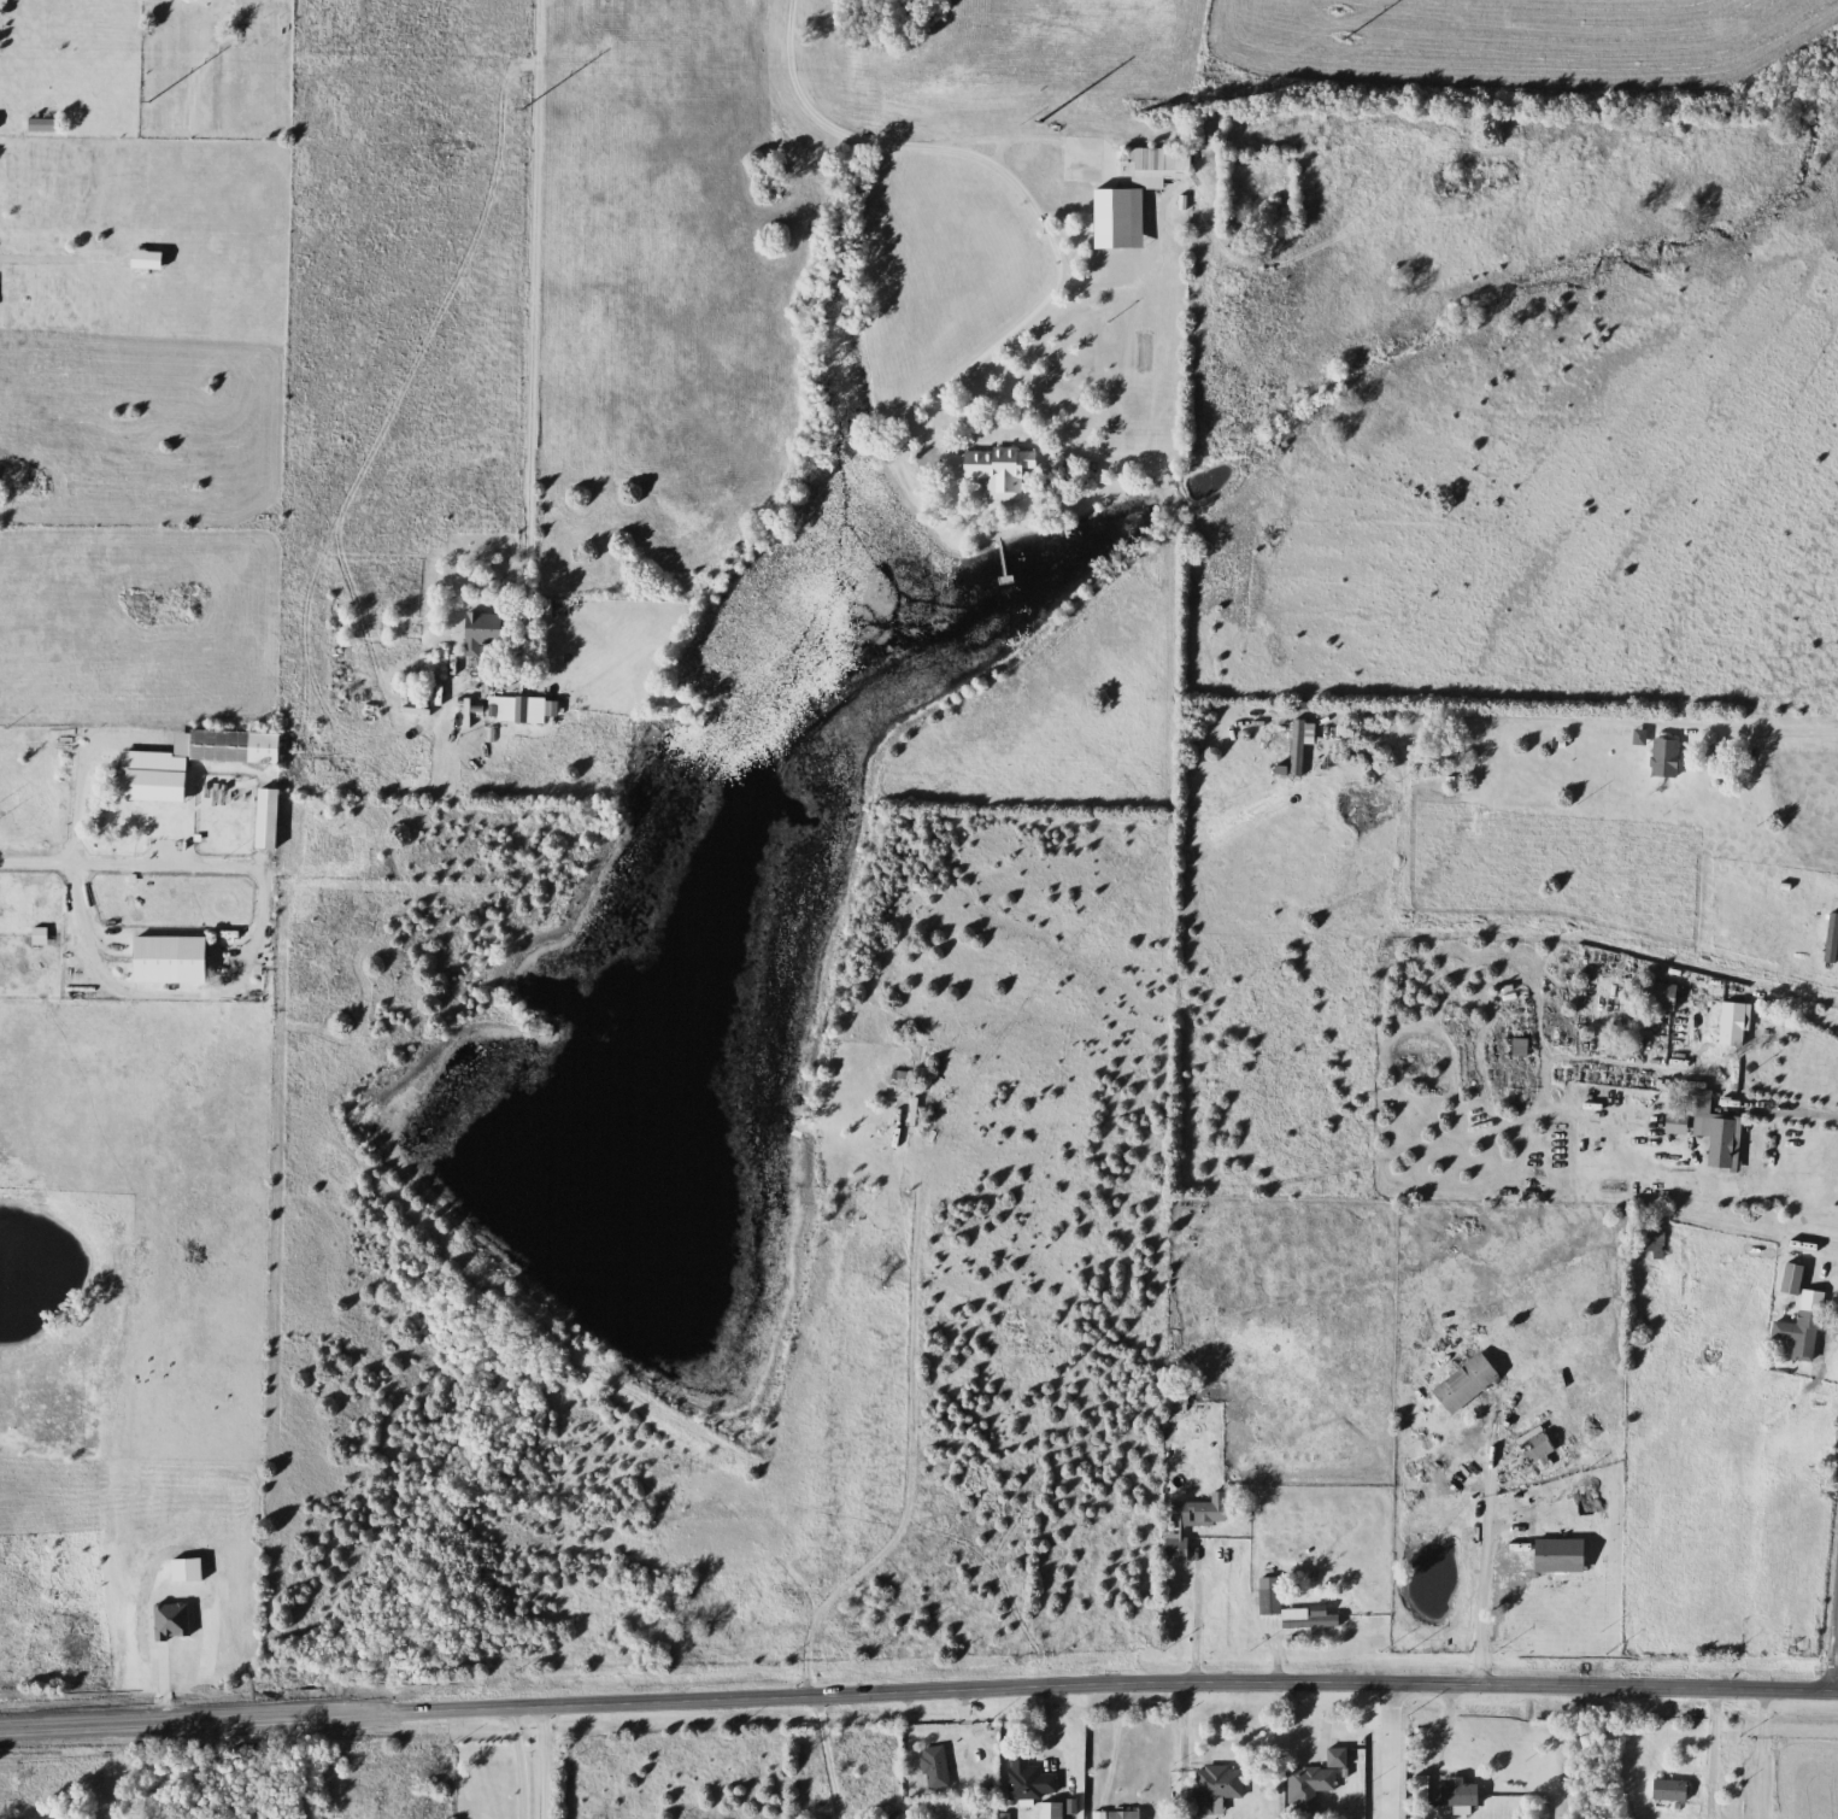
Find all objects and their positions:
power tower: (1337, 17)
power tower: (141, 78)
power tower: (517, 90)
power tower: (1040, 104)
building: (46, 125)
building: (1156, 166)
road: (1014, 181)
road: (51, 257)
road: (533, 292)
building: (1002, 465)
building: (485, 630)
building: (518, 709)
road: (1591, 720)
building: (229, 747)
building: (1299, 749)
building: (1668, 758)
building: (270, 818)
road: (128, 862)
road: (1522, 908)
building: (41, 937)
road: (95, 952)
building: (175, 961)
building: (1666, 998)
road: (1796, 1011)
building: (1738, 1031)
road: (1784, 1109)
building: (1705, 1125)
building: (895, 1137)
building: (1654, 1244)
building: (1803, 1315)
building: (1472, 1384)
building: (1182, 1397)
road: (915, 1440)
building: (1542, 1450)
building: (1182, 1530)
road: (1486, 1555)
building: (1563, 1556)
building: (1294, 1610)
road: (1197, 1621)
road: (1833, 1635)
road: (918, 1689)
road: (1116, 1741)
road: (1186, 1745)
road: (1386, 1749)
road: (1715, 1751)
road: (830, 1755)
road: (545, 1760)
road: (521, 1761)
road: (1308, 1761)
road: (301, 1766)
building: (938, 1767)
building: (1032, 1780)
building: (1313, 1780)
building: (1219, 1786)
building: (1673, 1790)
building: (1463, 1795)
building: (1056, 1811)
building: (1127, 1814)
building: (898, 1815)

